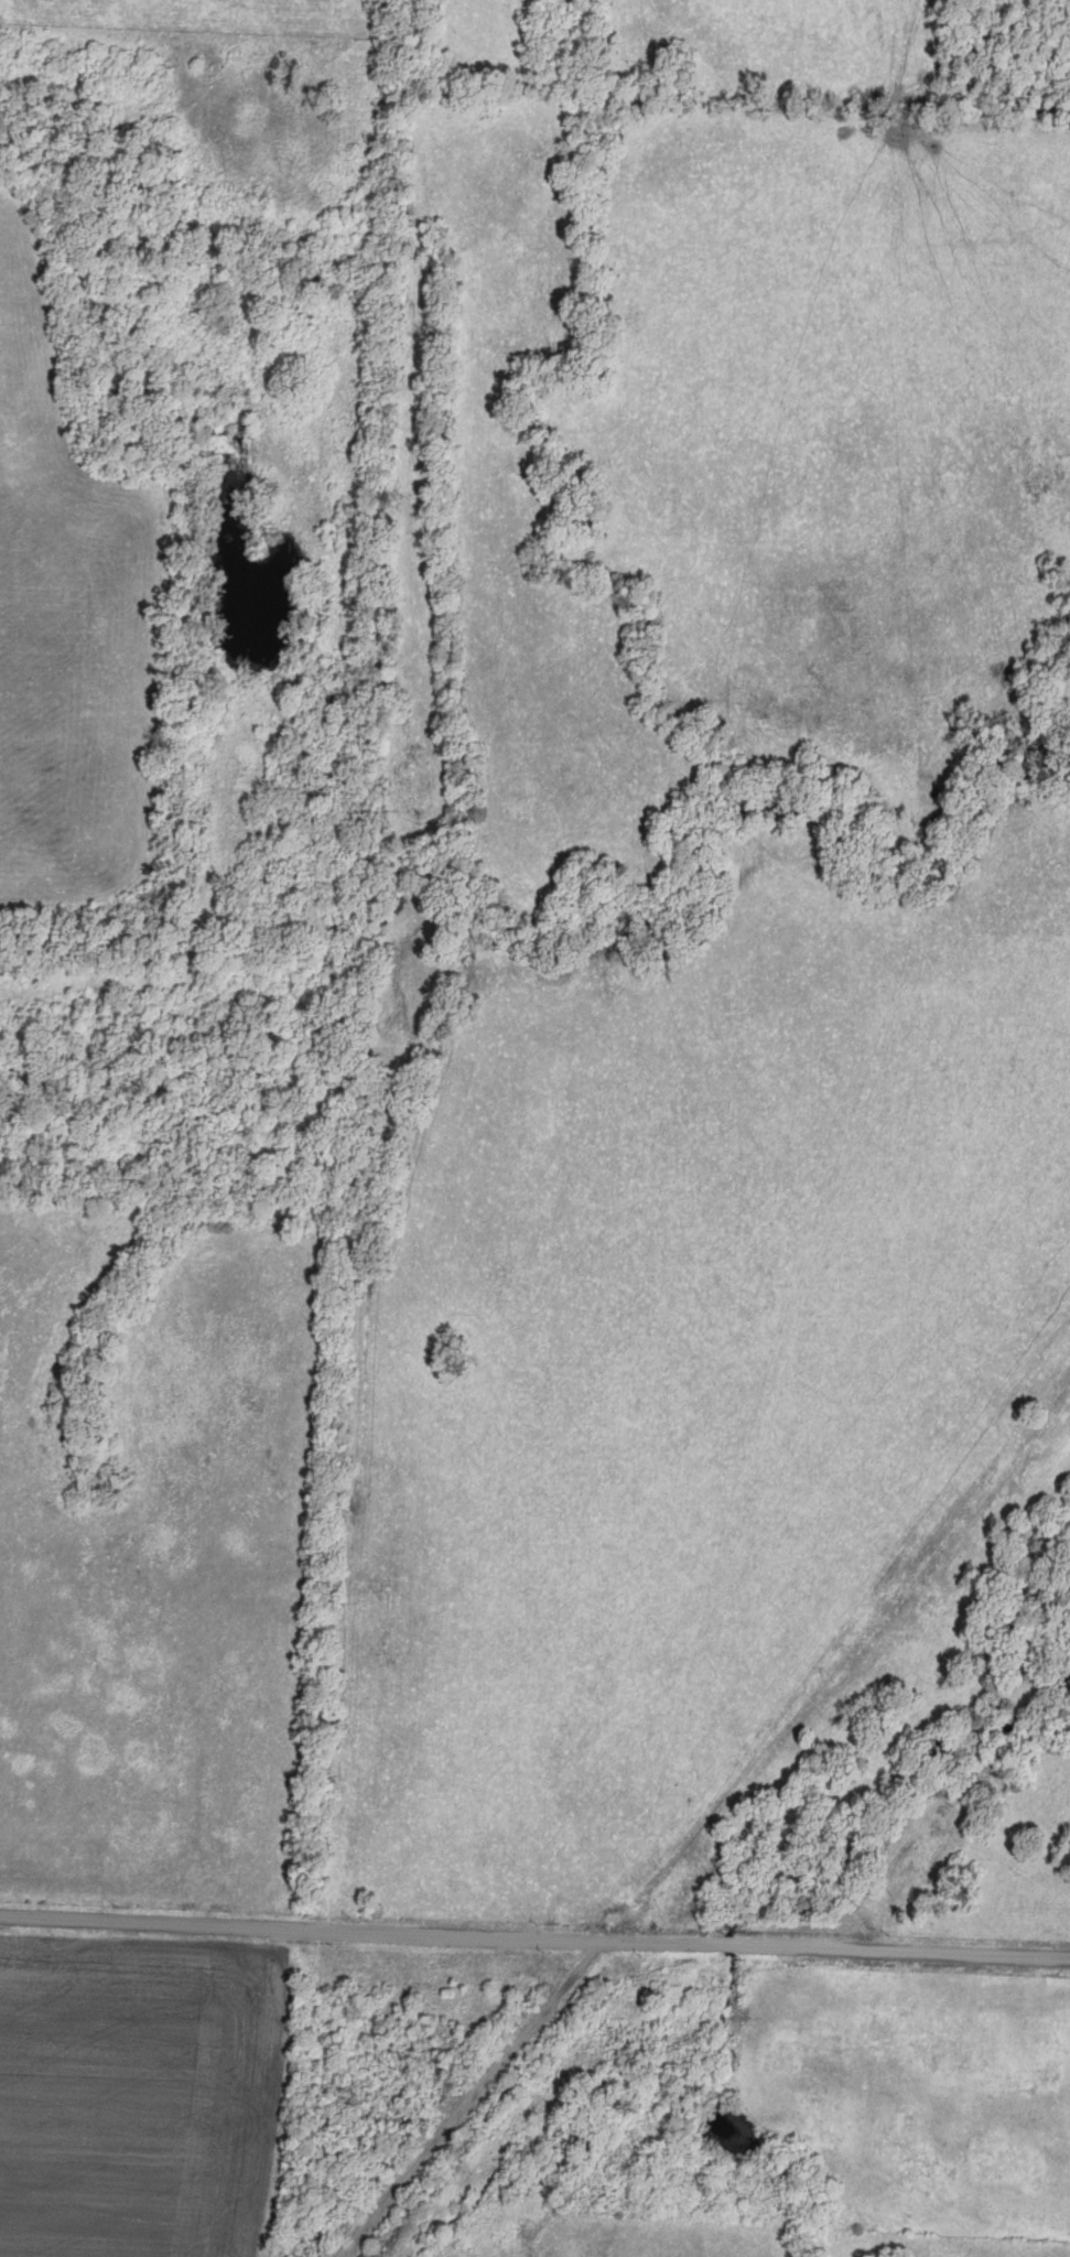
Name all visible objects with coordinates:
road: (534, 1942)

